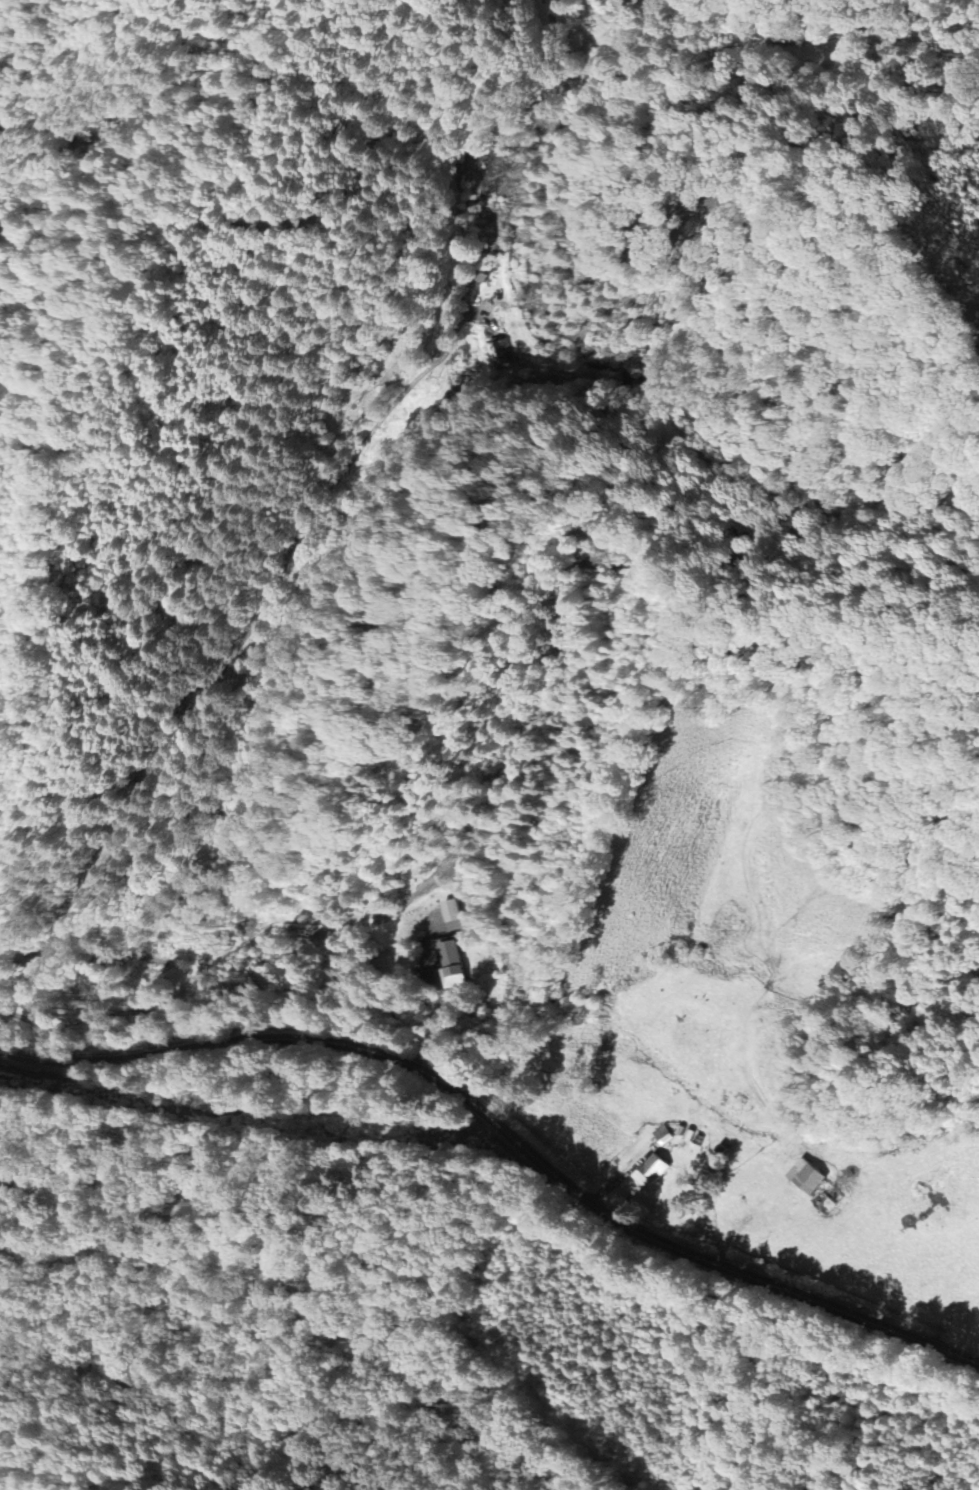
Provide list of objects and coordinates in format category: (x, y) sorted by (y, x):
road: (10, 22)
road: (730, 47)
road: (79, 174)
road: (506, 1129)

